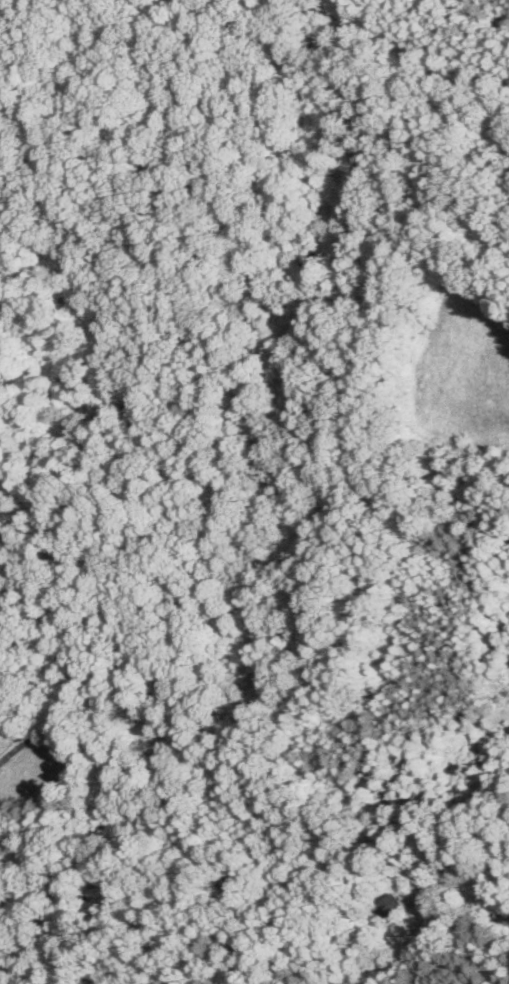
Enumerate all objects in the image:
road: (72, 700)
building: (392, 908)
road: (453, 923)

